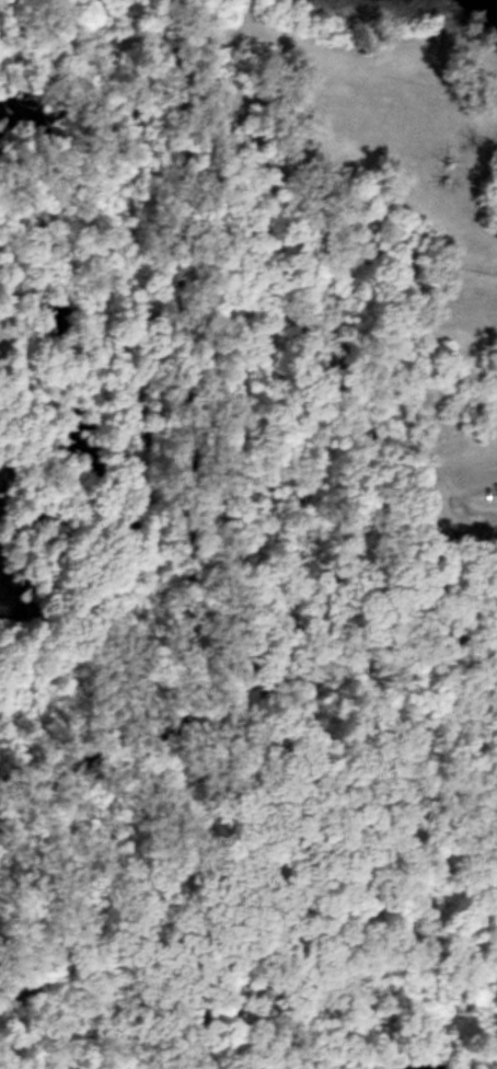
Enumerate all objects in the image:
park: (250, 32)
road: (119, 37)
road: (354, 145)
road: (76, 184)
road: (147, 360)
road: (412, 384)
road: (342, 404)
road: (469, 518)
road: (483, 532)
park: (247, 566)

